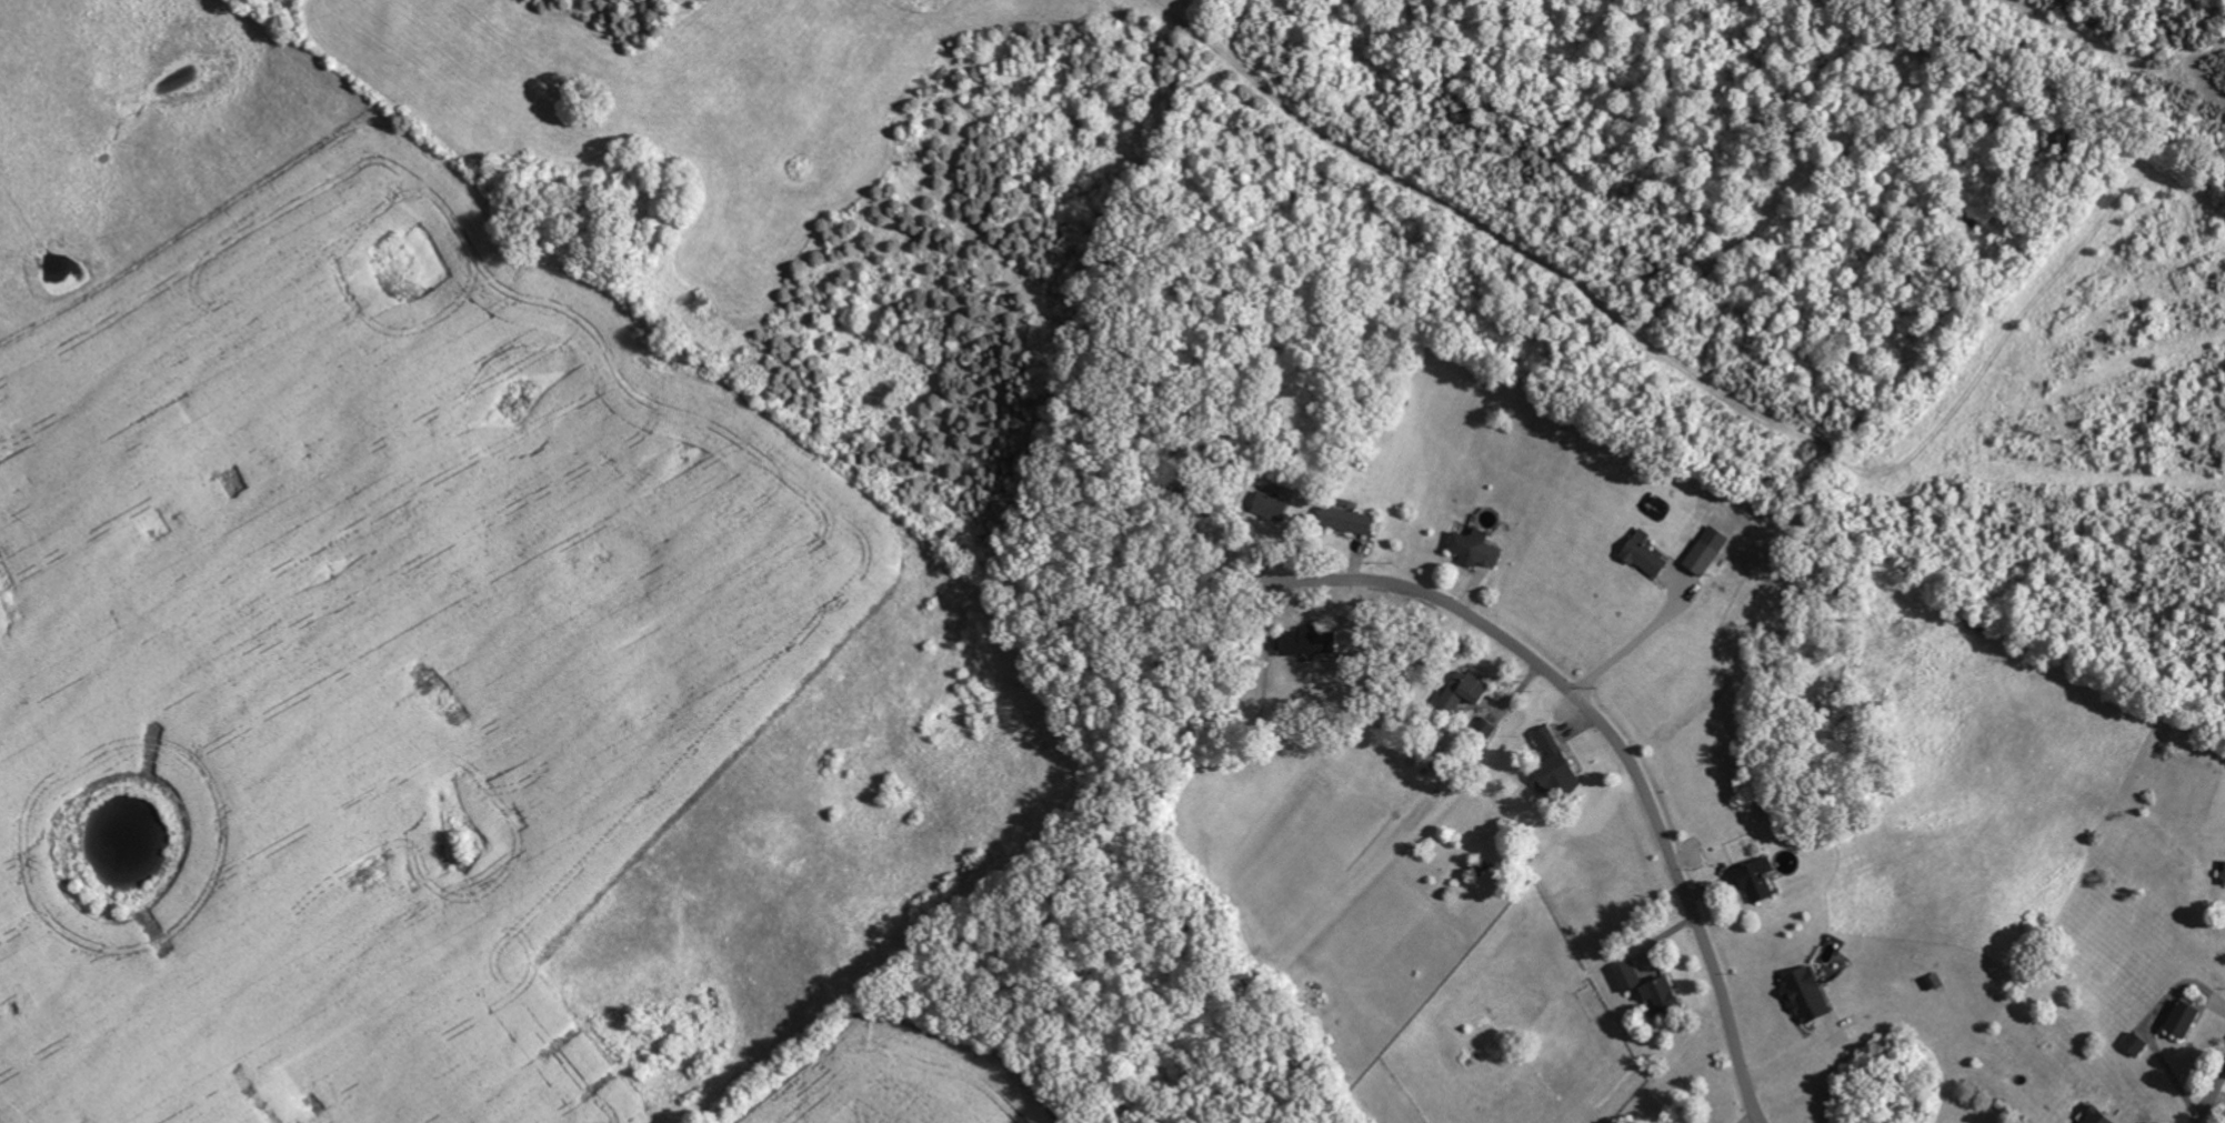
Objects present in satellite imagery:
building: (1479, 549)
building: (1711, 551)
building: (1650, 555)
building: (1314, 641)
road: (1630, 643)
building: (1472, 693)
road: (1613, 738)
building: (1558, 764)
building: (1760, 881)
building: (1630, 977)
building: (1811, 996)
building: (1663, 997)
building: (2185, 1017)
road: (2151, 1025)
road: (2211, 1100)
building: (2099, 1116)

